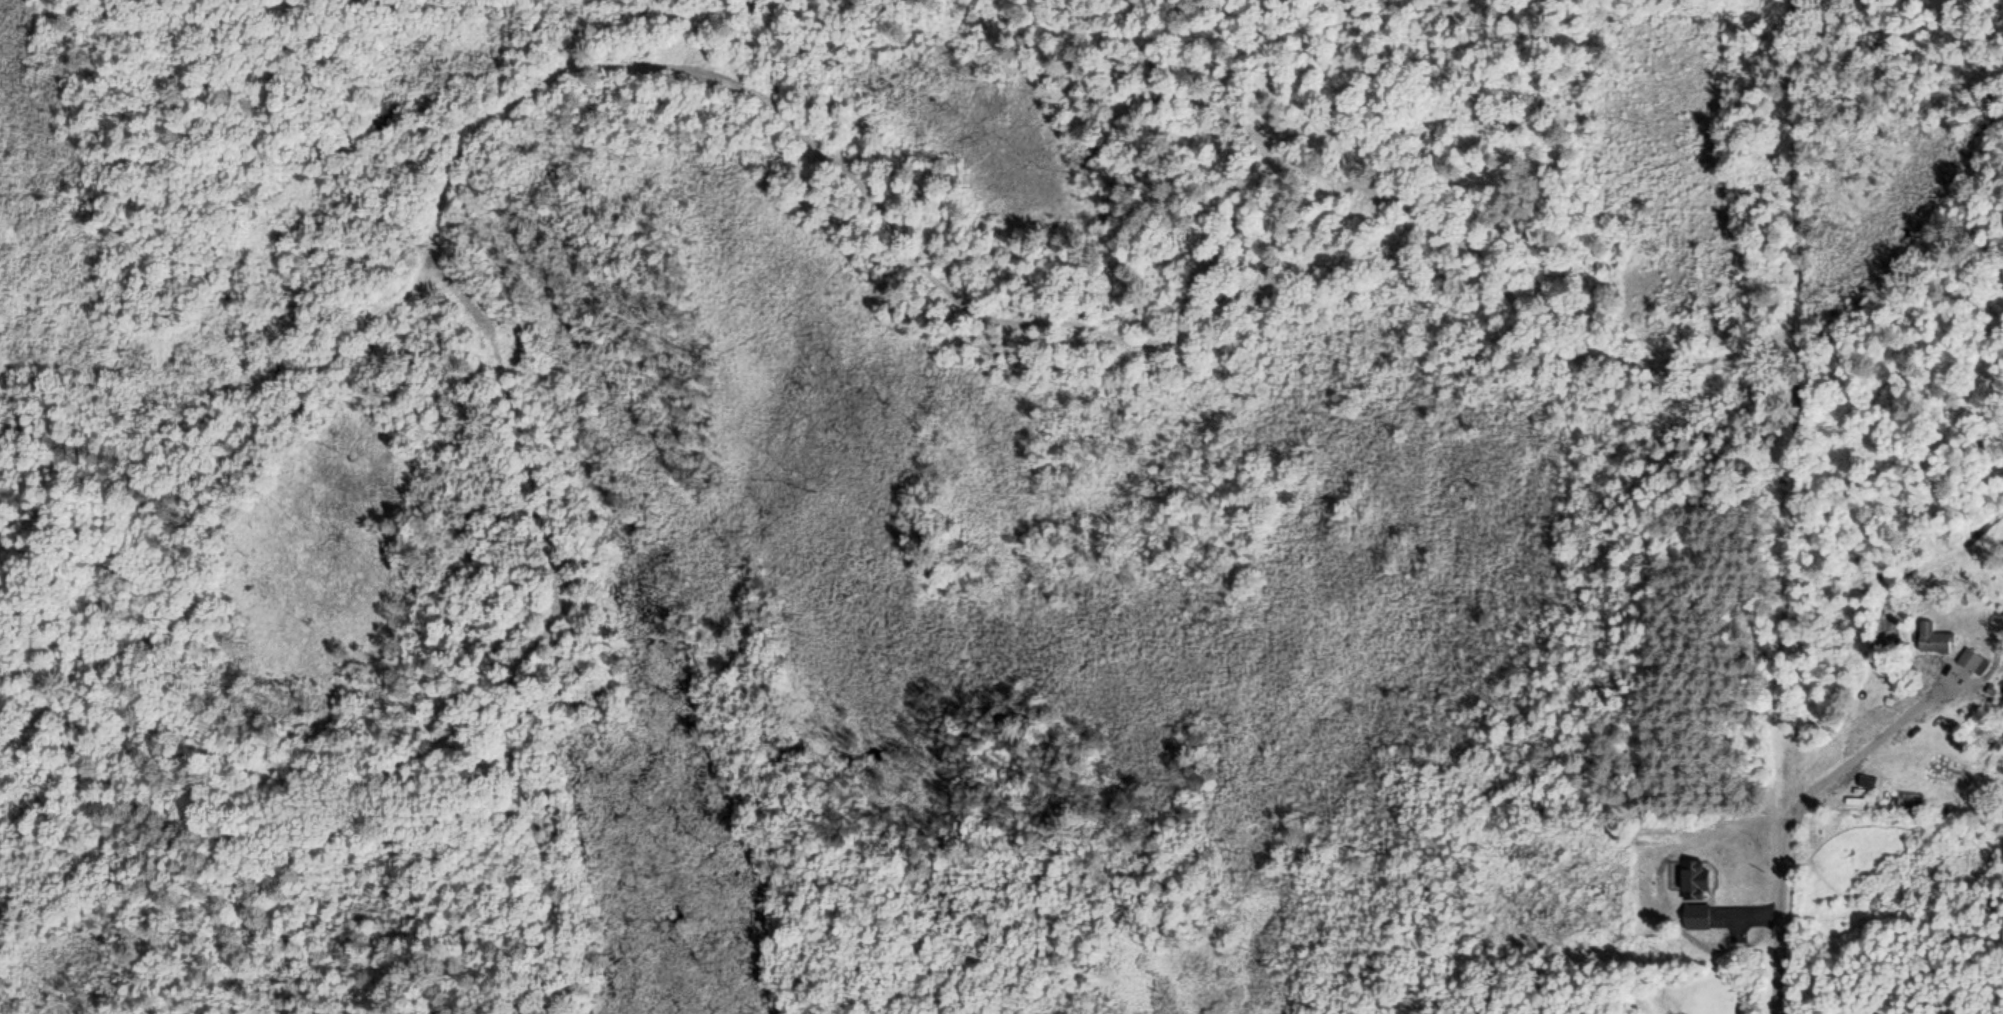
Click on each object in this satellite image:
building: (1938, 641)
building: (1970, 659)
road: (1859, 750)
building: (1701, 897)
road: (1777, 920)

